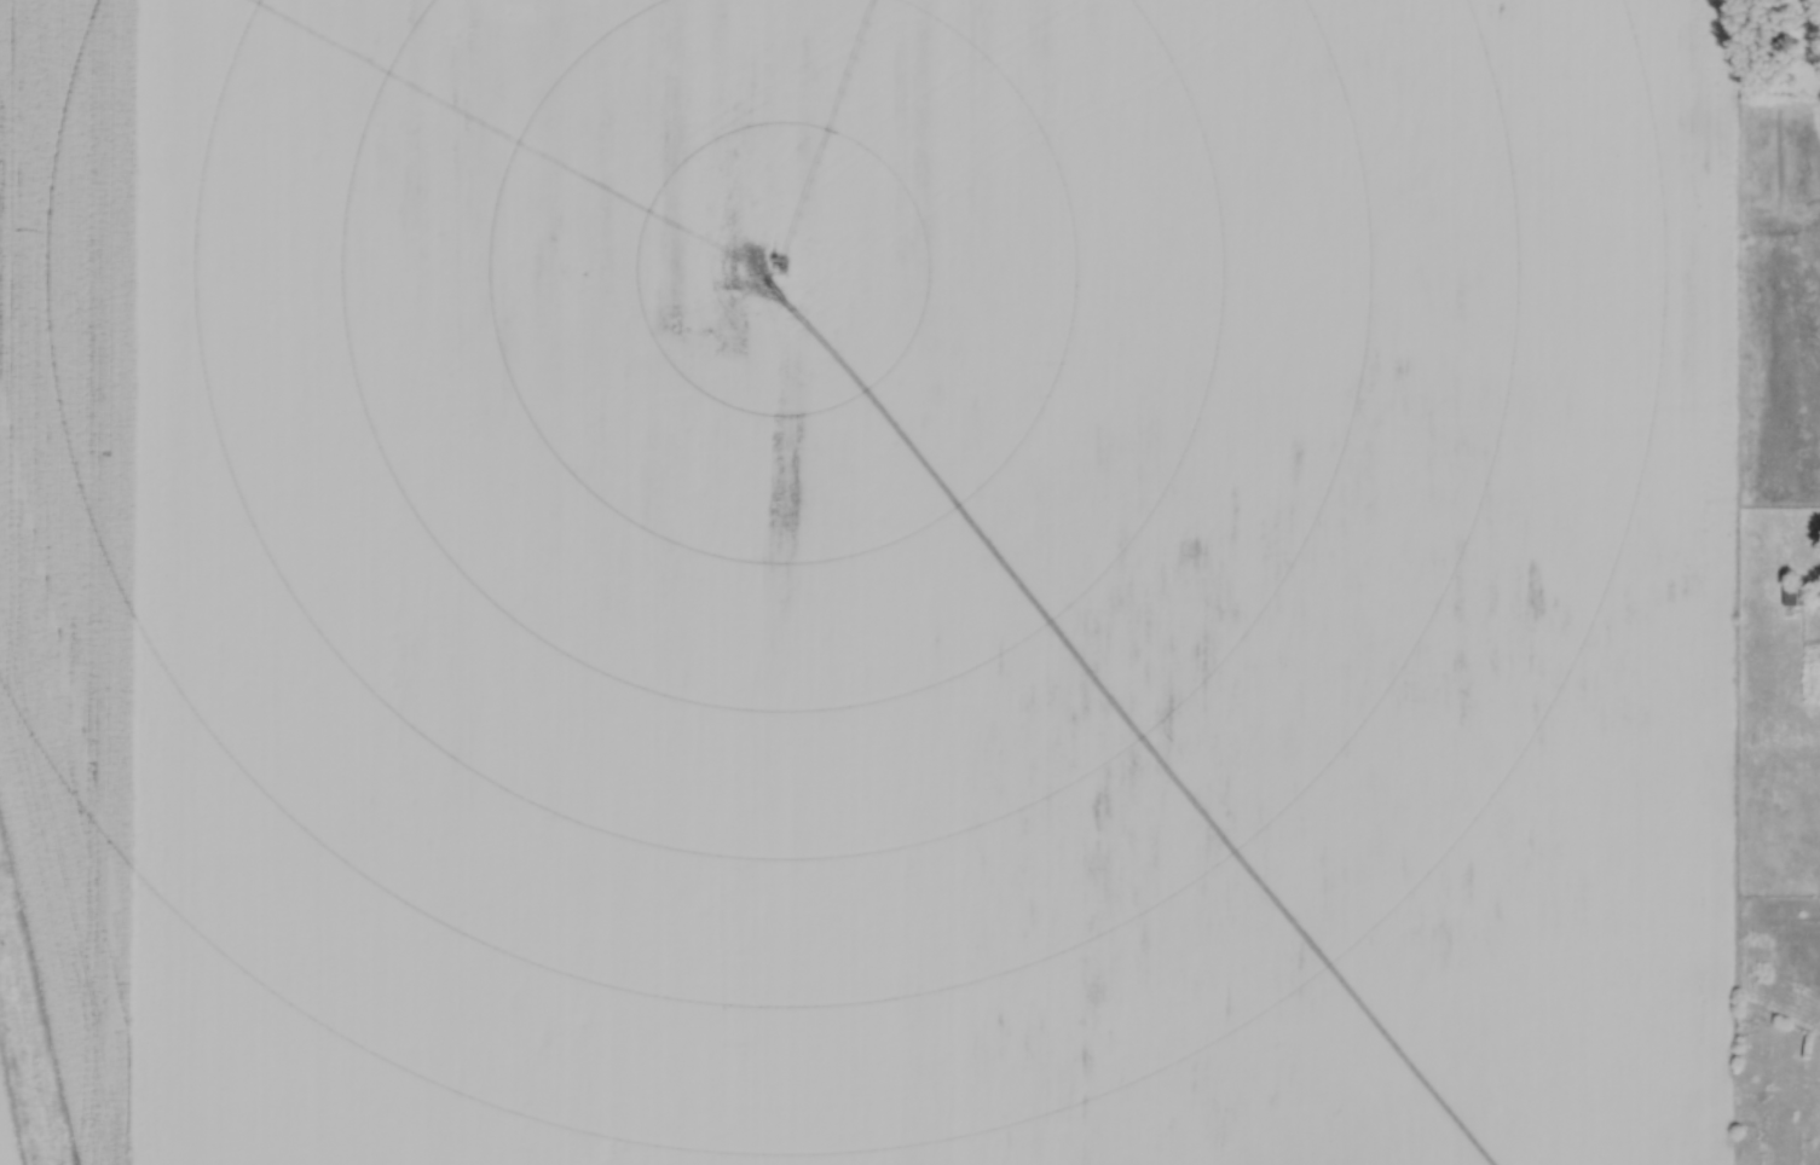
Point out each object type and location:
building: (1798, 596)

